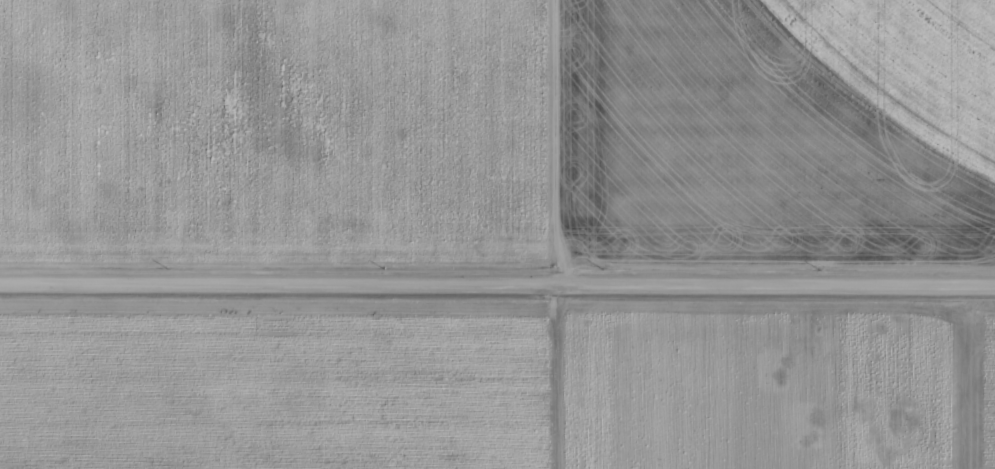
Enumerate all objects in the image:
road: (575, 234)
road: (497, 253)

